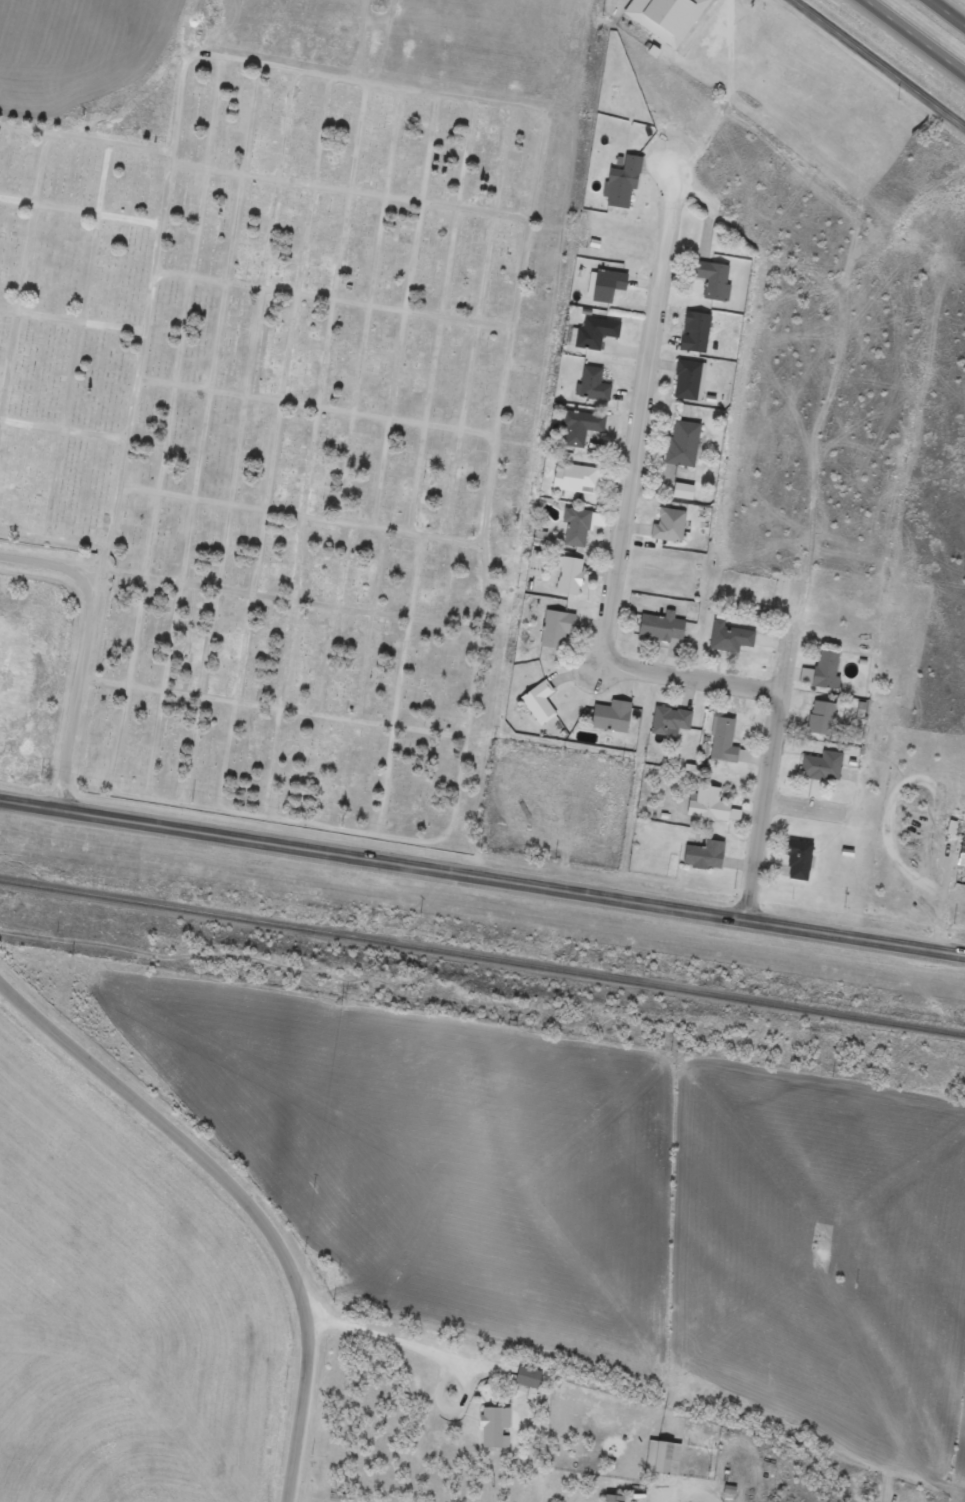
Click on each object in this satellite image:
road: (941, 17)
building: (664, 20)
road: (906, 43)
road: (879, 62)
building: (619, 189)
building: (710, 286)
building: (604, 291)
building: (692, 339)
building: (593, 340)
building: (687, 387)
building: (589, 391)
park: (287, 428)
building: (578, 434)
building: (681, 450)
building: (574, 485)
building: (680, 498)
road: (625, 506)
building: (666, 532)
building: (574, 534)
road: (47, 563)
building: (567, 582)
building: (658, 633)
building: (553, 636)
building: (727, 644)
building: (823, 677)
road: (79, 694)
building: (536, 709)
building: (608, 723)
building: (818, 725)
building: (668, 728)
building: (725, 750)
building: (819, 773)
road: (768, 779)
building: (705, 811)
road: (803, 815)
building: (732, 821)
building: (960, 861)
building: (702, 862)
building: (795, 866)
road: (482, 882)
railway: (482, 958)
road: (232, 1203)
road: (434, 1361)
building: (525, 1384)
building: (492, 1433)
building: (660, 1465)
building: (602, 1501)

